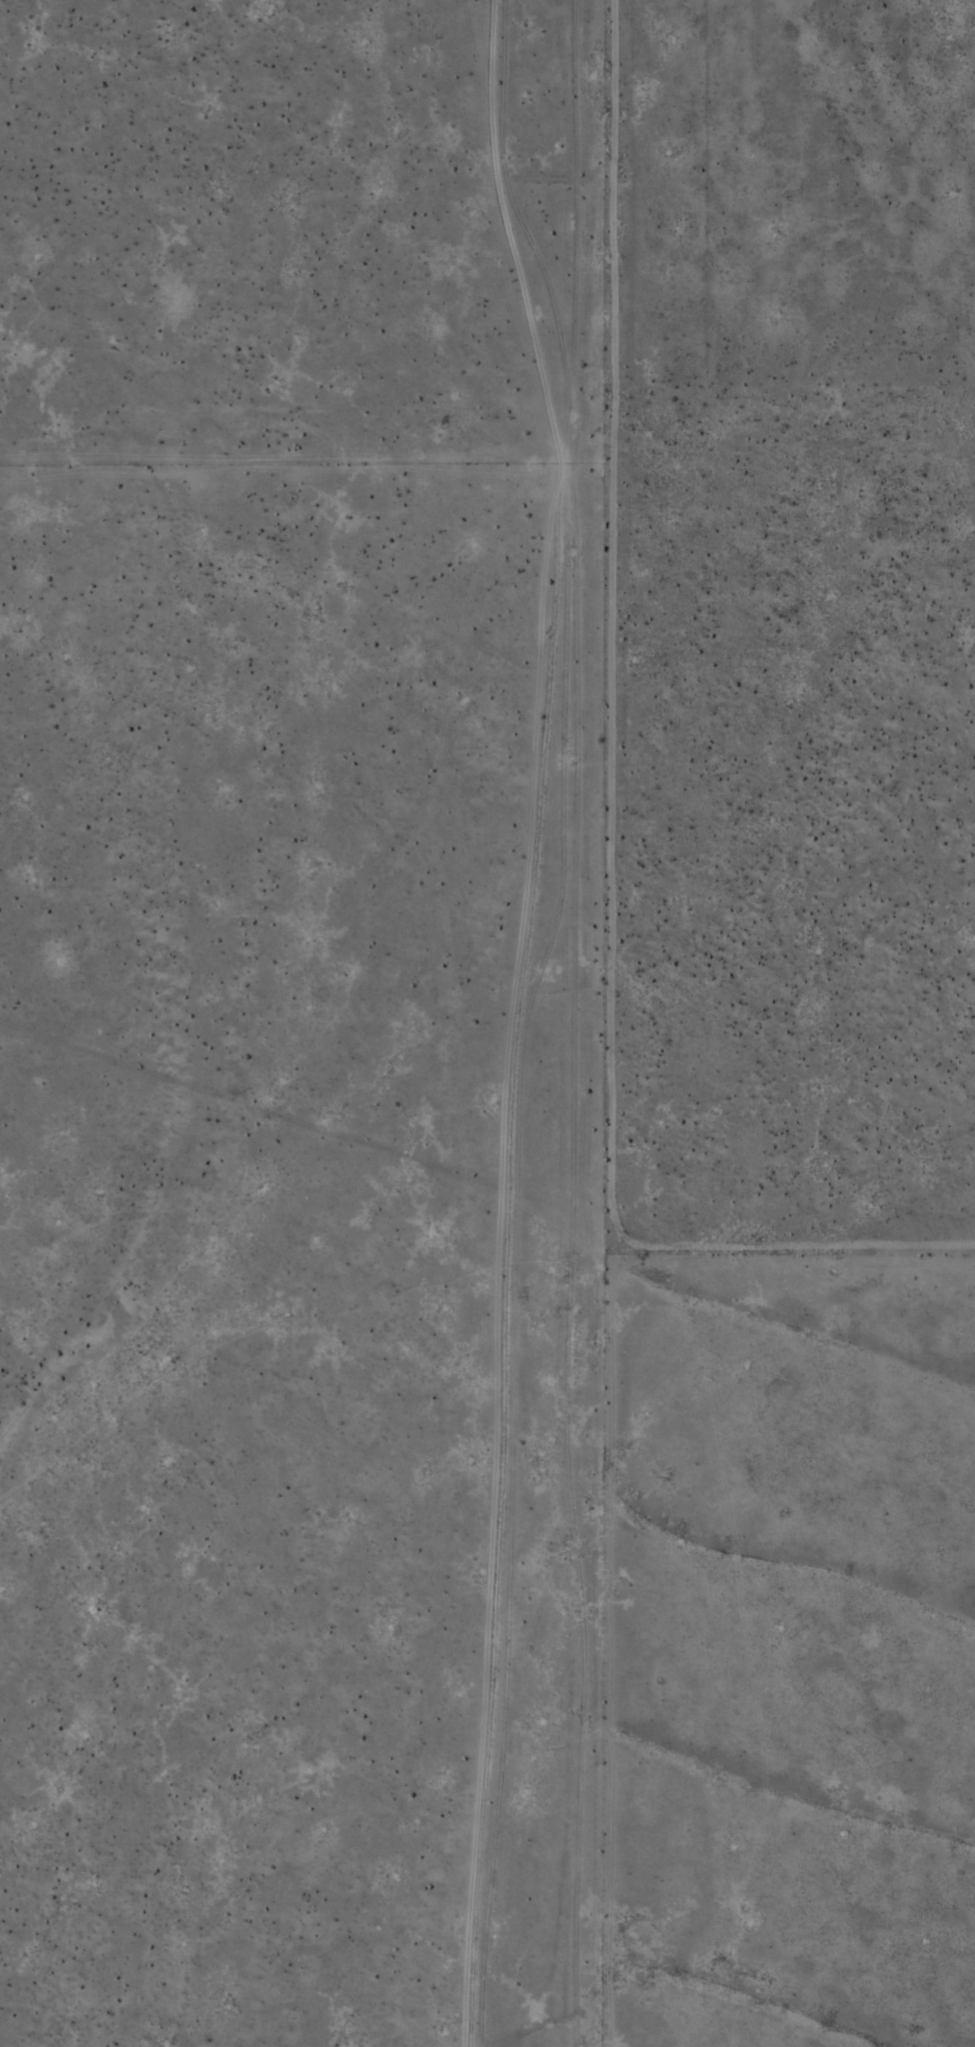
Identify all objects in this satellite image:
road: (779, 448)
road: (579, 1026)

